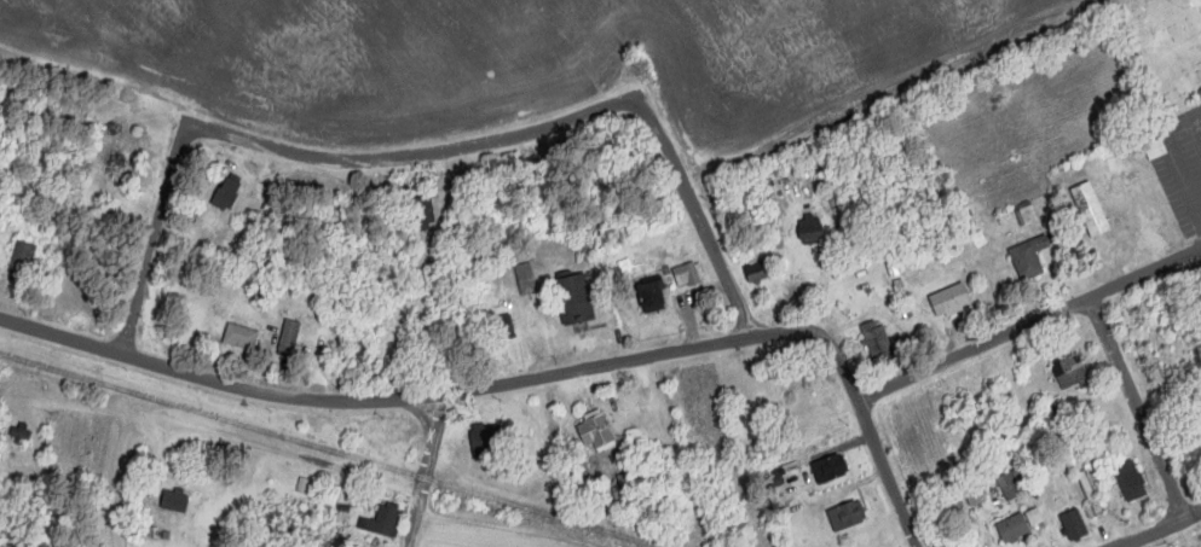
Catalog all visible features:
road: (293, 151)
building: (116, 165)
building: (227, 196)
road: (699, 213)
building: (428, 214)
building: (810, 231)
building: (1032, 260)
building: (23, 263)
building: (758, 274)
building: (689, 275)
building: (653, 298)
building: (576, 301)
building: (954, 302)
road: (1029, 324)
building: (498, 328)
building: (238, 338)
building: (291, 338)
building: (878, 342)
building: (391, 348)
building: (1157, 369)
building: (1073, 373)
road: (443, 394)
road: (1138, 406)
building: (21, 432)
building: (599, 433)
building: (487, 437)
railway: (330, 449)
building: (832, 465)
road: (426, 471)
road: (887, 472)
building: (1015, 482)
building: (1132, 482)
building: (1092, 491)
building: (175, 499)
building: (848, 516)
building: (382, 520)
building: (1020, 525)
building: (1075, 525)
road: (1160, 529)

